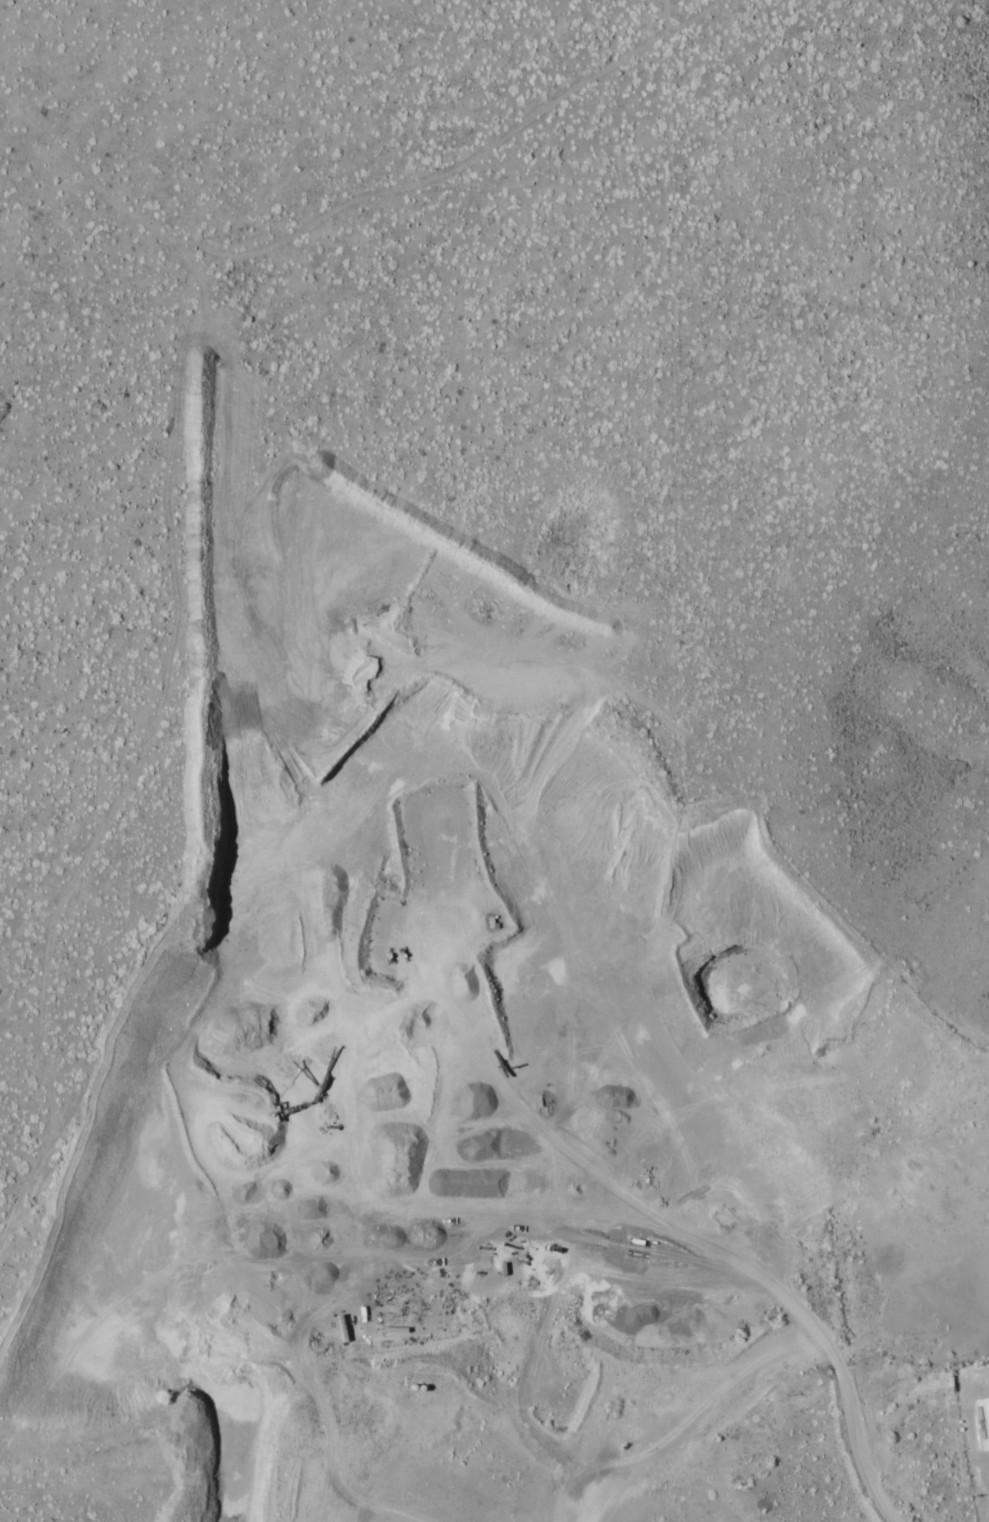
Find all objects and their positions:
road: (670, 295)

